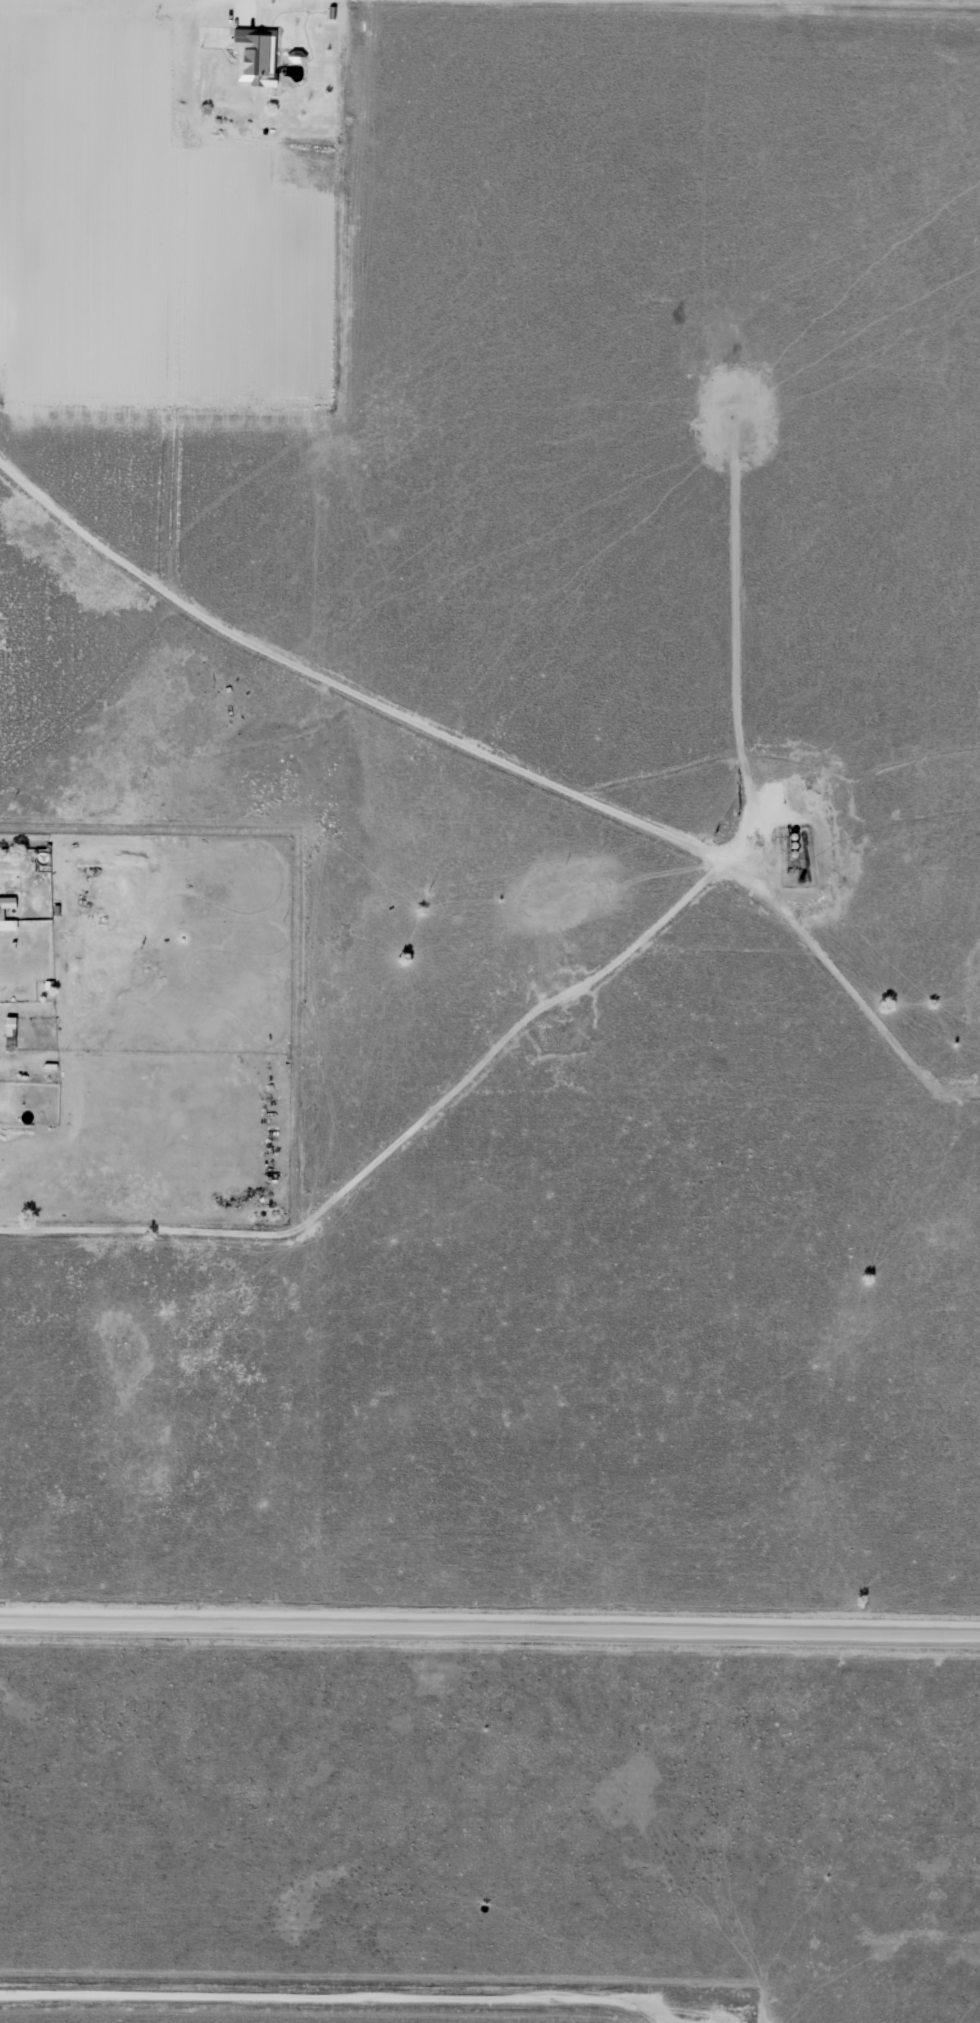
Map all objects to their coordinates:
road: (490, 31)
building: (8, 902)
road: (490, 1637)
road: (346, 2010)

